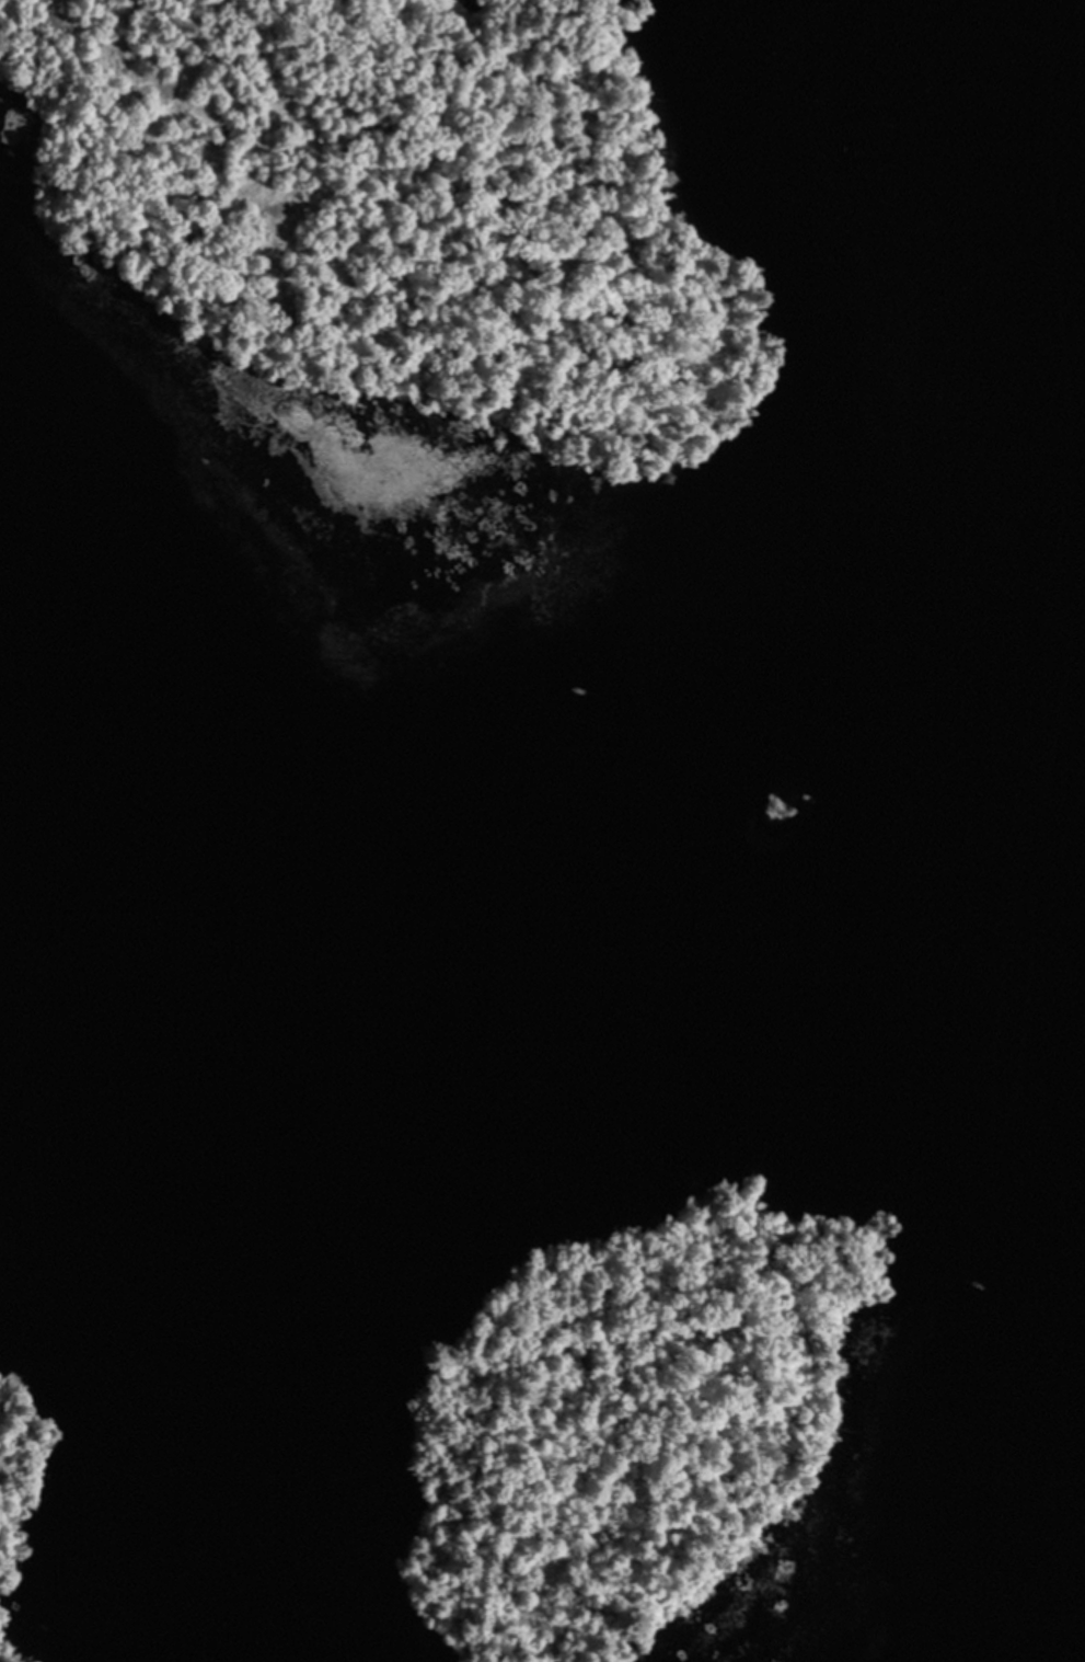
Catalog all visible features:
river: (1005, 313)

